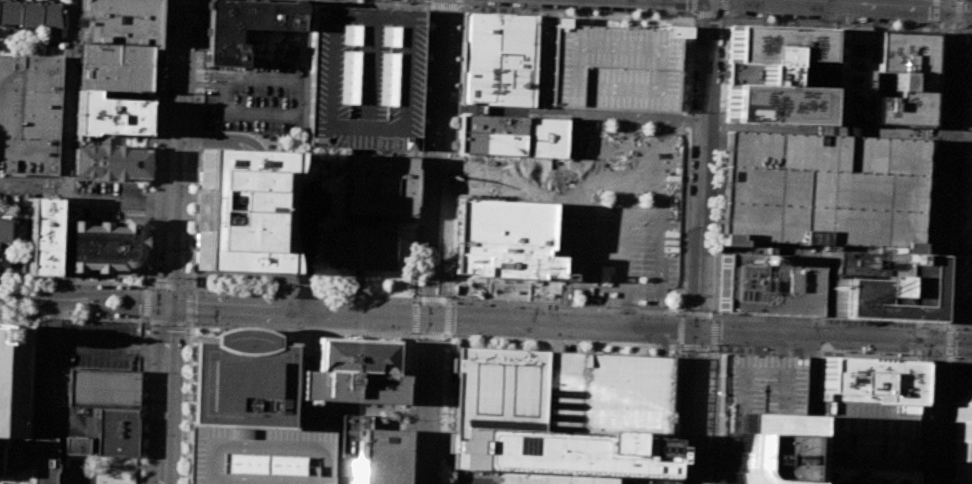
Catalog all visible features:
street lamp: (319, 0)
road: (966, 1)
street lamp: (369, 2)
street lamp: (411, 2)
road: (367, 3)
road: (847, 4)
road: (444, 5)
road: (945, 5)
street lamp: (471, 6)
street lamp: (198, 9)
street lamp: (574, 11)
road: (958, 11)
street lamp: (626, 12)
building: (32, 13)
road: (710, 13)
road: (573, 14)
street lamp: (675, 15)
street lamp: (158, 17)
street lamp: (733, 17)
street lamp: (429, 19)
street lamp: (779, 19)
street lamp: (834, 21)
road: (828, 23)
street lamp: (875, 23)
street lamp: (919, 23)
road: (947, 24)
street lamp: (196, 25)
building: (242, 25)
street lamp: (722, 30)
road: (963, 31)
street lamp: (932, 34)
road: (963, 34)
road: (963, 36)
street lamp: (157, 40)
street lamp: (957, 42)
road: (962, 47)
street lamp: (197, 54)
building: (498, 59)
street lamp: (931, 60)
building: (967, 63)
building: (610, 64)
parking lot: (610, 64)
building: (114, 67)
road: (824, 68)
road: (959, 68)
street lamp: (157, 71)
building: (773, 74)
road: (201, 75)
building: (849, 75)
building: (895, 77)
building: (366, 79)
parking lot: (366, 79)
road: (225, 81)
road: (201, 85)
parking lot: (255, 98)
street lamp: (929, 102)
building: (966, 108)
road: (299, 109)
street lamp: (155, 110)
building: (30, 114)
parking garage: (30, 114)
road: (572, 115)
road: (821, 128)
street lamp: (154, 132)
road: (956, 132)
building: (490, 134)
road: (921, 136)
building: (547, 137)
road: (150, 141)
road: (954, 142)
road: (194, 143)
street lamp: (926, 145)
road: (69, 148)
road: (949, 150)
road: (174, 152)
road: (420, 152)
street lamp: (153, 156)
road: (454, 156)
road: (948, 159)
building: (109, 162)
road: (704, 165)
road: (949, 170)
street lamp: (926, 172)
road: (939, 176)
road: (952, 177)
road: (954, 177)
street lamp: (152, 178)
road: (921, 178)
street lamp: (192, 181)
road: (12, 183)
road: (25, 183)
building: (382, 189)
building: (820, 192)
parking lot: (820, 192)
street lamp: (925, 197)
parking lot: (108, 200)
road: (119, 201)
building: (964, 201)
parking lot: (964, 201)
building: (240, 209)
parking lot: (627, 213)
street lamp: (150, 217)
street lamp: (191, 219)
road: (568, 220)
building: (509, 224)
building: (8, 229)
building: (46, 236)
street lamp: (150, 237)
road: (433, 242)
building: (106, 245)
building: (360, 246)
street lamp: (149, 257)
street lamp: (189, 258)
road: (304, 258)
road: (946, 263)
road: (716, 270)
road: (245, 274)
street lamp: (188, 278)
road: (73, 279)
road: (682, 279)
road: (946, 279)
building: (764, 284)
road: (168, 286)
building: (868, 286)
street lamp: (135, 287)
building: (963, 290)
parking lot: (963, 290)
road: (112, 292)
street lamp: (200, 292)
road: (304, 294)
road: (28, 296)
road: (432, 300)
road: (145, 301)
street lamp: (410, 301)
road: (416, 301)
road: (189, 303)
traffic signals: (168, 304)
road: (944, 304)
street lamp: (509, 306)
road: (111, 307)
street lamp: (615, 309)
street lamp: (683, 309)
street lamp: (711, 311)
road: (681, 313)
road: (698, 314)
road: (945, 314)
road: (72, 315)
street lamp: (675, 315)
road: (714, 315)
road: (416, 317)
road: (448, 318)
traffic signals: (430, 319)
road: (432, 319)
street lamp: (948, 319)
road: (16, 321)
road: (144, 321)
road: (166, 322)
road: (189, 322)
street lamp: (194, 322)
street lamp: (145, 324)
street lamp: (840, 324)
road: (933, 326)
road: (949, 327)
road: (960, 327)
road: (301, 329)
street lamp: (954, 329)
road: (680, 330)
road: (714, 331)
road: (464, 332)
traffic signals: (698, 332)
road: (415, 333)
street lamp: (186, 334)
road: (447, 334)
street lamp: (449, 334)
road: (430, 335)
road: (815, 337)
flagpole: (409, 338)
road: (554, 338)
road: (918, 338)
street lamp: (443, 339)
street lamp: (568, 341)
traffic signals: (934, 342)
road: (948, 342)
road: (953, 342)
road: (665, 343)
road: (85, 344)
road: (116, 344)
road: (468, 344)
road: (631, 344)
street lamp: (716, 344)
road: (759, 344)
street lamp: (673, 345)
road: (780, 345)
road: (562, 346)
road: (678, 347)
road: (689, 347)
road: (703, 347)
road: (714, 348)
road: (800, 348)
street lamp: (680, 350)
street lamp: (710, 350)
road: (810, 352)
road: (669, 353)
street lamp: (911, 353)
road: (917, 354)
road: (660, 355)
parking lot: (75, 357)
road: (932, 358)
road: (958, 359)
road: (52, 363)
road: (708, 363)
street lamp: (919, 363)
road: (165, 367)
road: (813, 367)
building: (963, 368)
street lamp: (145, 369)
road: (716, 373)
building: (352, 374)
road: (953, 377)
building: (864, 380)
building: (241, 381)
road: (915, 382)
street lamp: (184, 385)
street lamp: (144, 386)
building: (756, 386)
building: (103, 387)
parking garage: (756, 387)
road: (954, 389)
building: (13, 398)
road: (445, 400)
road: (140, 402)
street lamp: (143, 402)
road: (187, 404)
road: (445, 406)
road: (694, 407)
road: (362, 409)
road: (413, 409)
road: (931, 412)
building: (560, 415)
road: (946, 419)
street lamp: (408, 420)
road: (921, 421)
road: (920, 430)
building: (116, 431)
street lamp: (141, 434)
building: (864, 435)
parking lot: (864, 435)
road: (912, 436)
building: (961, 440)
road: (61, 441)
building: (76, 446)
street lamp: (141, 449)
building: (757, 450)
road: (31, 453)
building: (371, 453)
building: (258, 456)
parking lot: (258, 456)
road: (161, 457)
building: (44, 460)
street lamp: (140, 465)
parking lot: (79, 473)
road: (60, 475)
road: (633, 475)
building: (860, 475)
road: (28, 476)
road: (457, 476)
road: (471, 476)
road: (17, 477)
road: (659, 480)
road: (666, 480)
street lamp: (140, 481)
road: (500, 483)
building: (822, 483)

